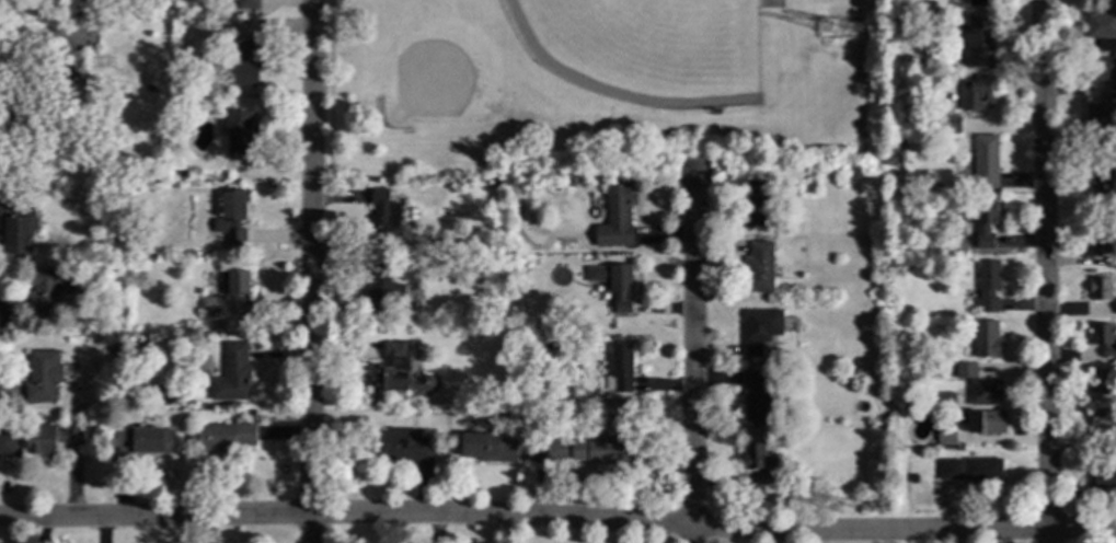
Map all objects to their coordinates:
building: (980, 2)
building: (246, 4)
building: (84, 8)
power tower: (829, 31)
power tower: (859, 31)
building: (1102, 31)
building: (976, 39)
building: (891, 47)
park: (647, 48)
building: (244, 63)
building: (1101, 71)
road: (19, 78)
building: (67, 82)
building: (976, 92)
building: (945, 126)
building: (1100, 126)
building: (240, 136)
building: (905, 141)
building: (983, 163)
building: (179, 174)
building: (1102, 184)
building: (757, 203)
building: (598, 213)
building: (615, 217)
building: (231, 218)
building: (384, 218)
building: (16, 223)
building: (985, 224)
building: (437, 242)
building: (1098, 244)
building: (758, 268)
road: (1046, 270)
road: (312, 271)
building: (234, 282)
building: (612, 284)
building: (988, 286)
building: (1100, 288)
building: (47, 291)
building: (382, 294)
building: (211, 305)
building: (437, 326)
building: (759, 330)
building: (986, 339)
building: (1103, 339)
road: (694, 348)
building: (619, 370)
building: (965, 370)
building: (395, 372)
building: (231, 376)
building: (41, 378)
building: (1101, 380)
building: (985, 393)
building: (562, 394)
building: (755, 395)
building: (944, 402)
building: (982, 421)
building: (1105, 426)
building: (945, 437)
building: (221, 438)
building: (49, 439)
building: (142, 442)
building: (8, 444)
building: (400, 444)
building: (488, 449)
building: (555, 450)
building: (598, 451)
building: (759, 463)
building: (950, 470)
building: (981, 470)
building: (912, 480)
building: (1104, 480)
power tower: (868, 505)
power tower: (837, 507)
road: (557, 517)
road: (694, 533)

